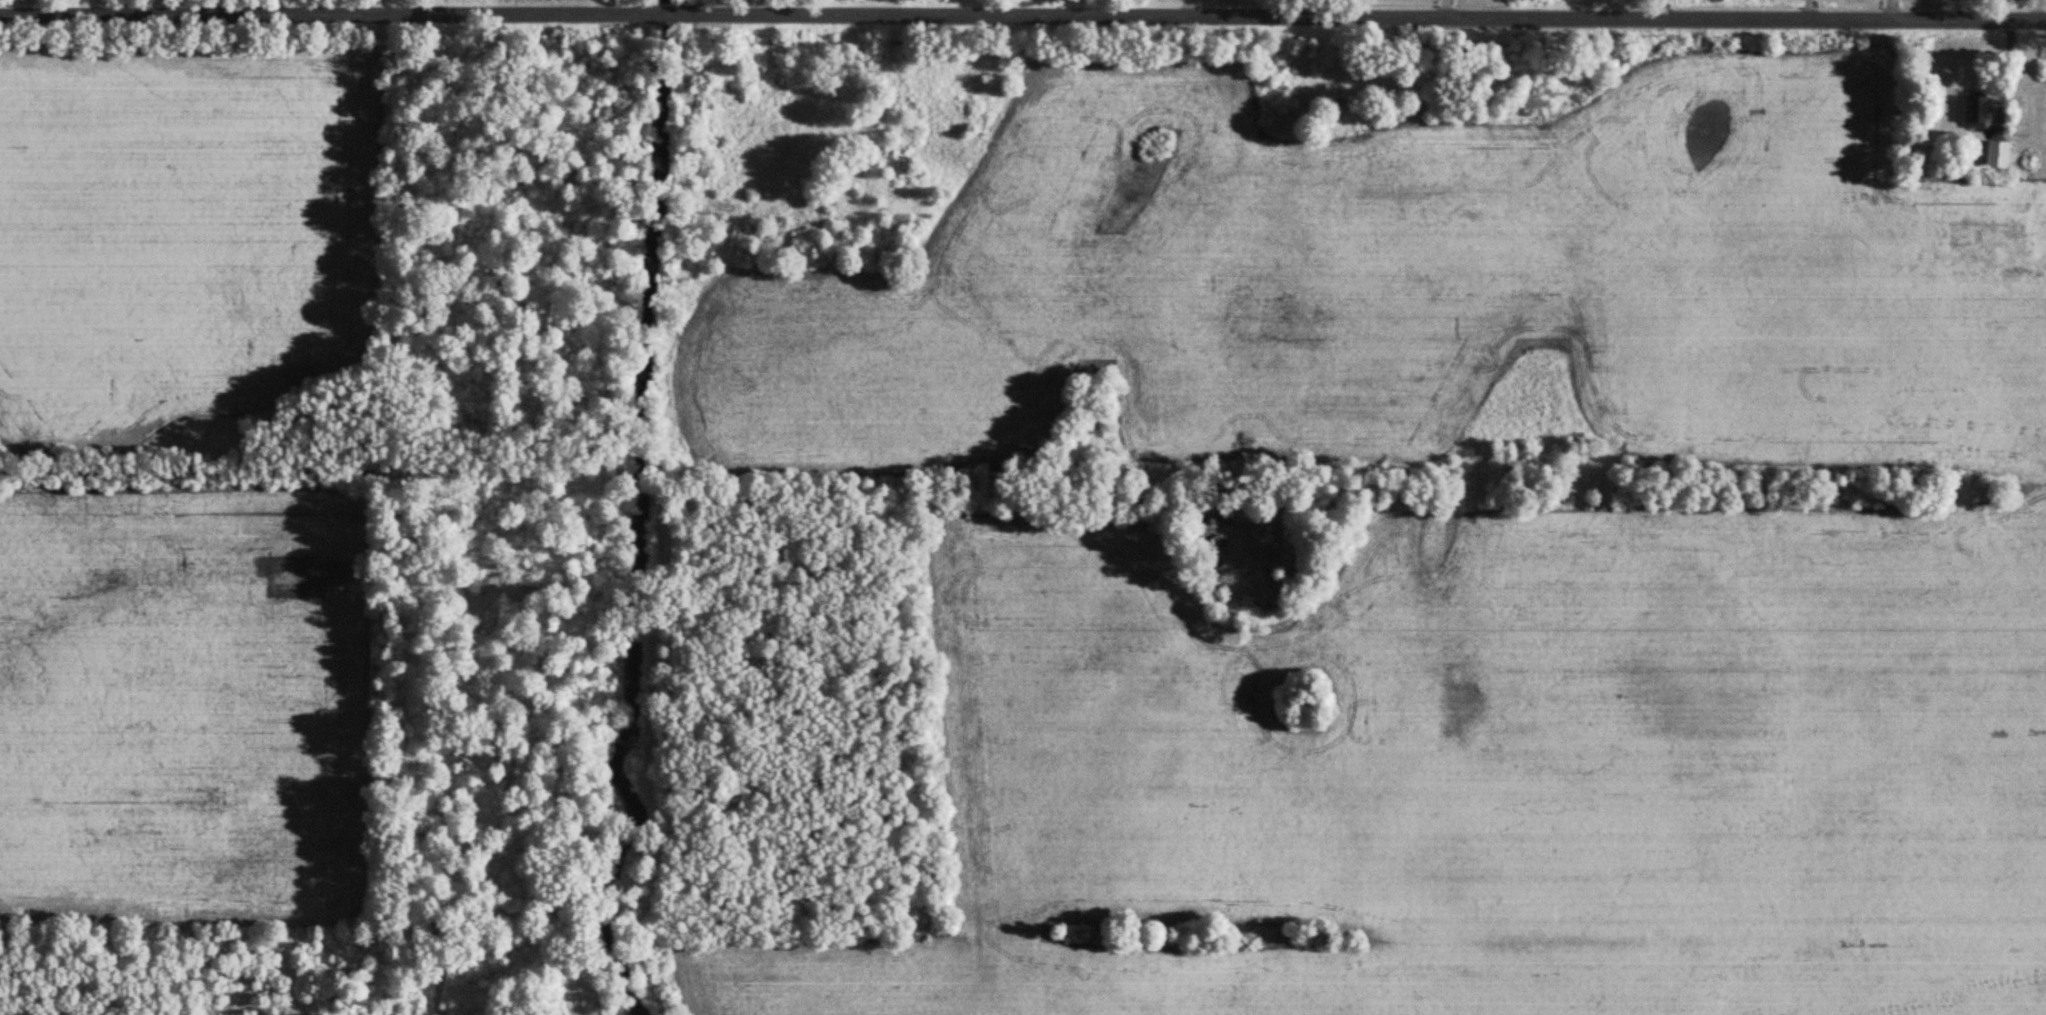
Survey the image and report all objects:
road: (408, 12)
road: (1184, 13)
road: (1443, 14)
road: (1664, 14)
road: (1808, 14)
road: (1890, 14)
road: (2035, 15)
road: (1023, 26)

